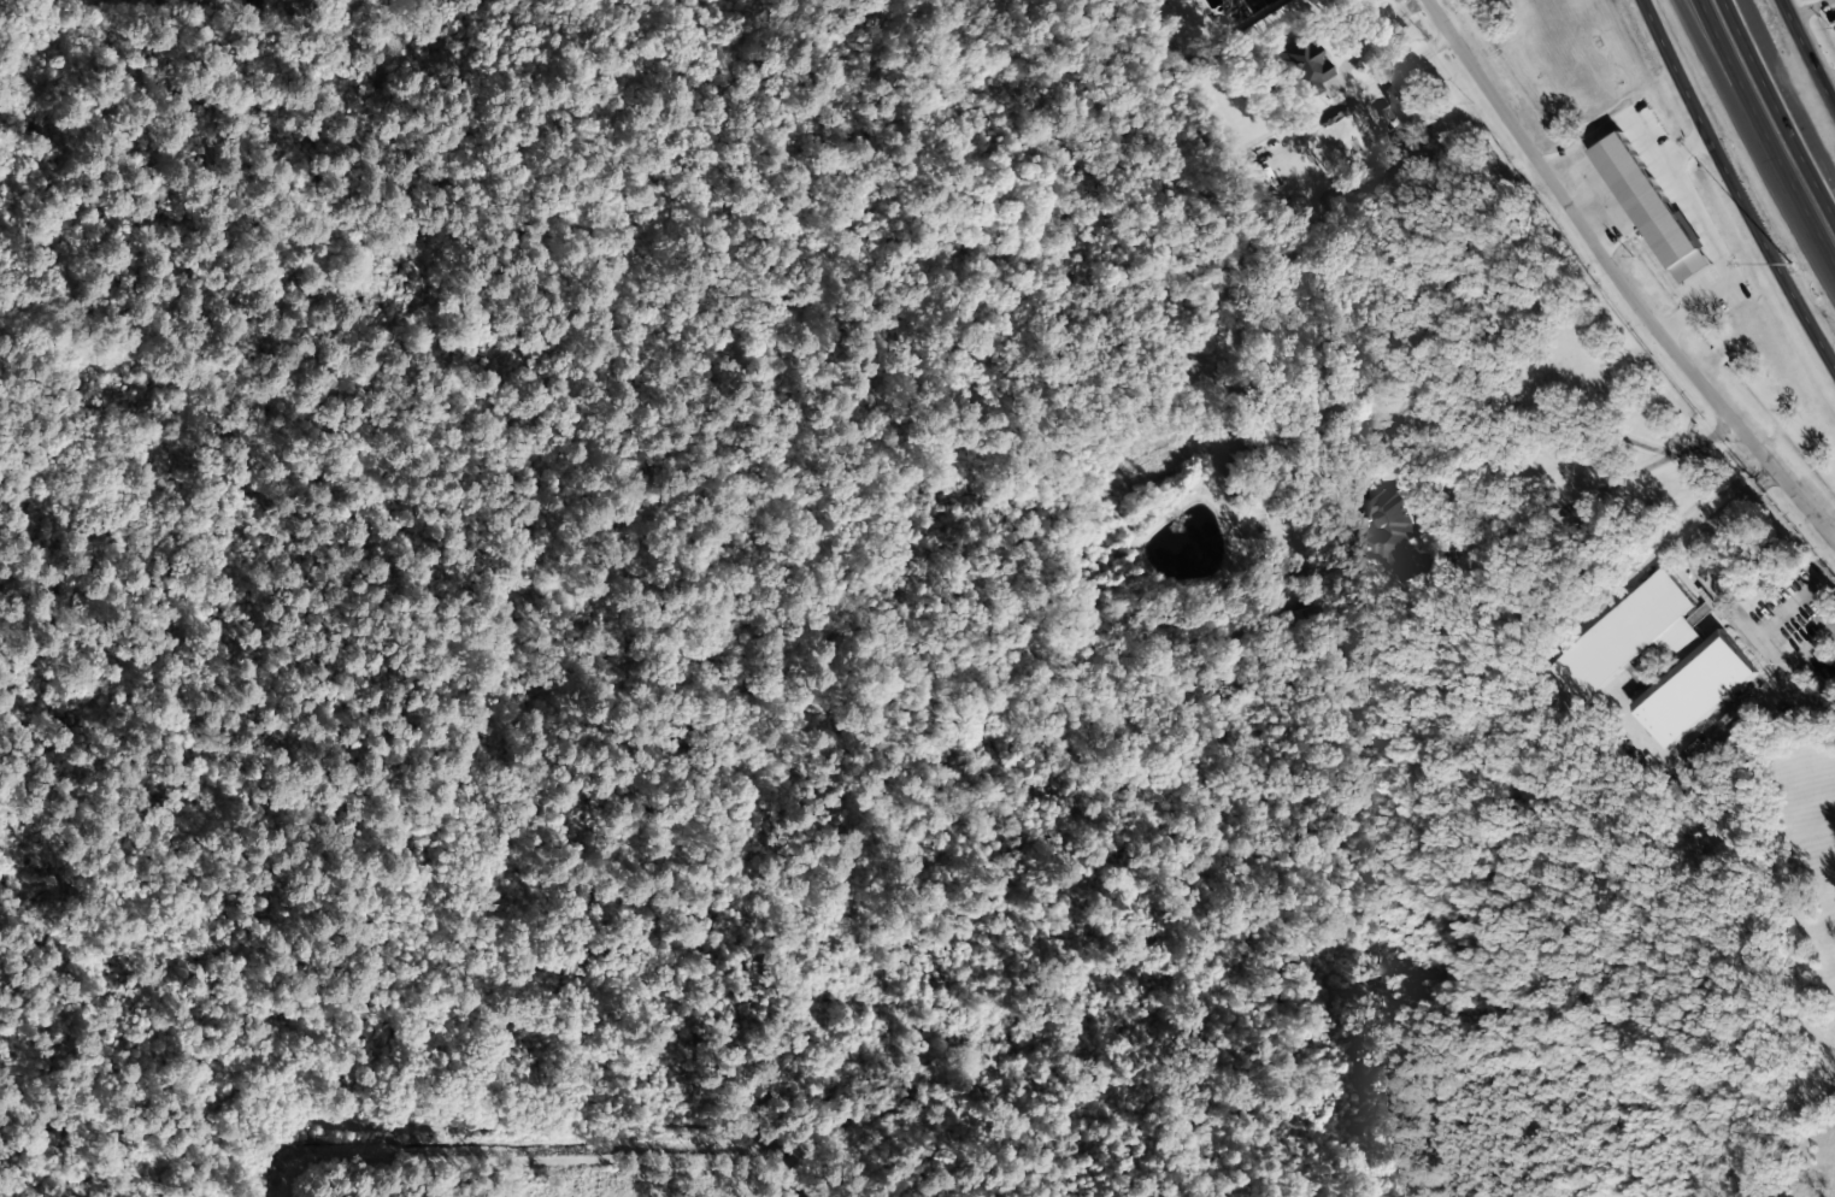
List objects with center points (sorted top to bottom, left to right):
building: (1261, 1)
building: (487, 2)
road: (1806, 58)
building: (1304, 67)
road: (1722, 84)
building: (1402, 102)
road: (1778, 107)
road: (1764, 135)
road: (1736, 184)
building: (1649, 207)
building: (1645, 241)
road: (1622, 279)
building: (1388, 527)
building: (1302, 621)
building: (1595, 653)

